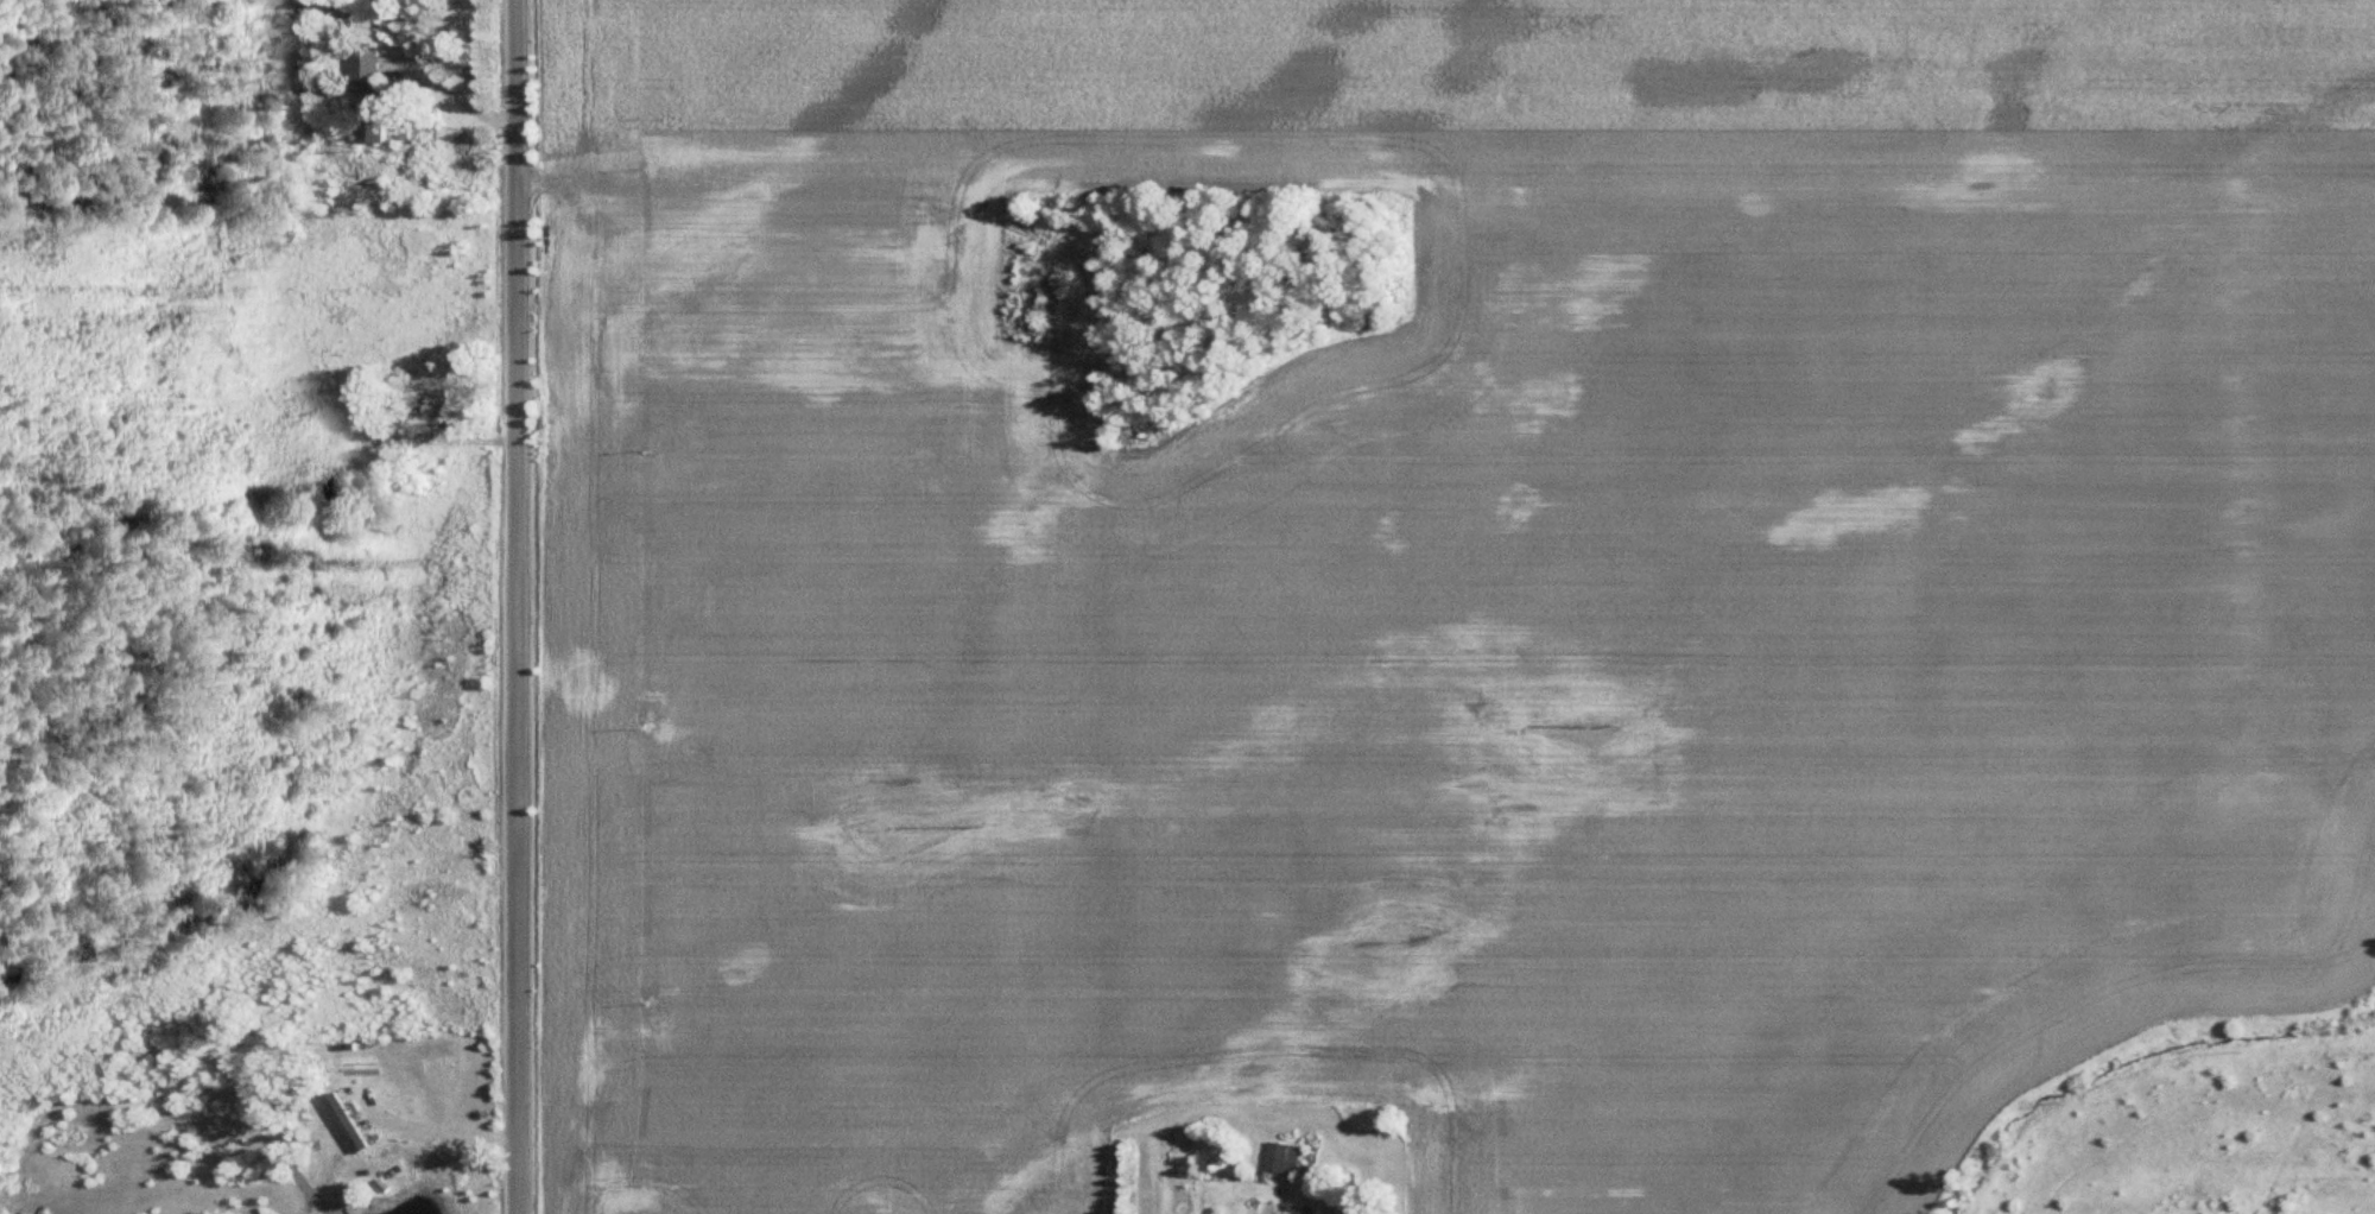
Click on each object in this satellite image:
building: (369, 63)
building: (373, 124)
building: (436, 409)
road: (518, 607)
building: (350, 1123)
road: (444, 1132)
building: (1286, 1157)

